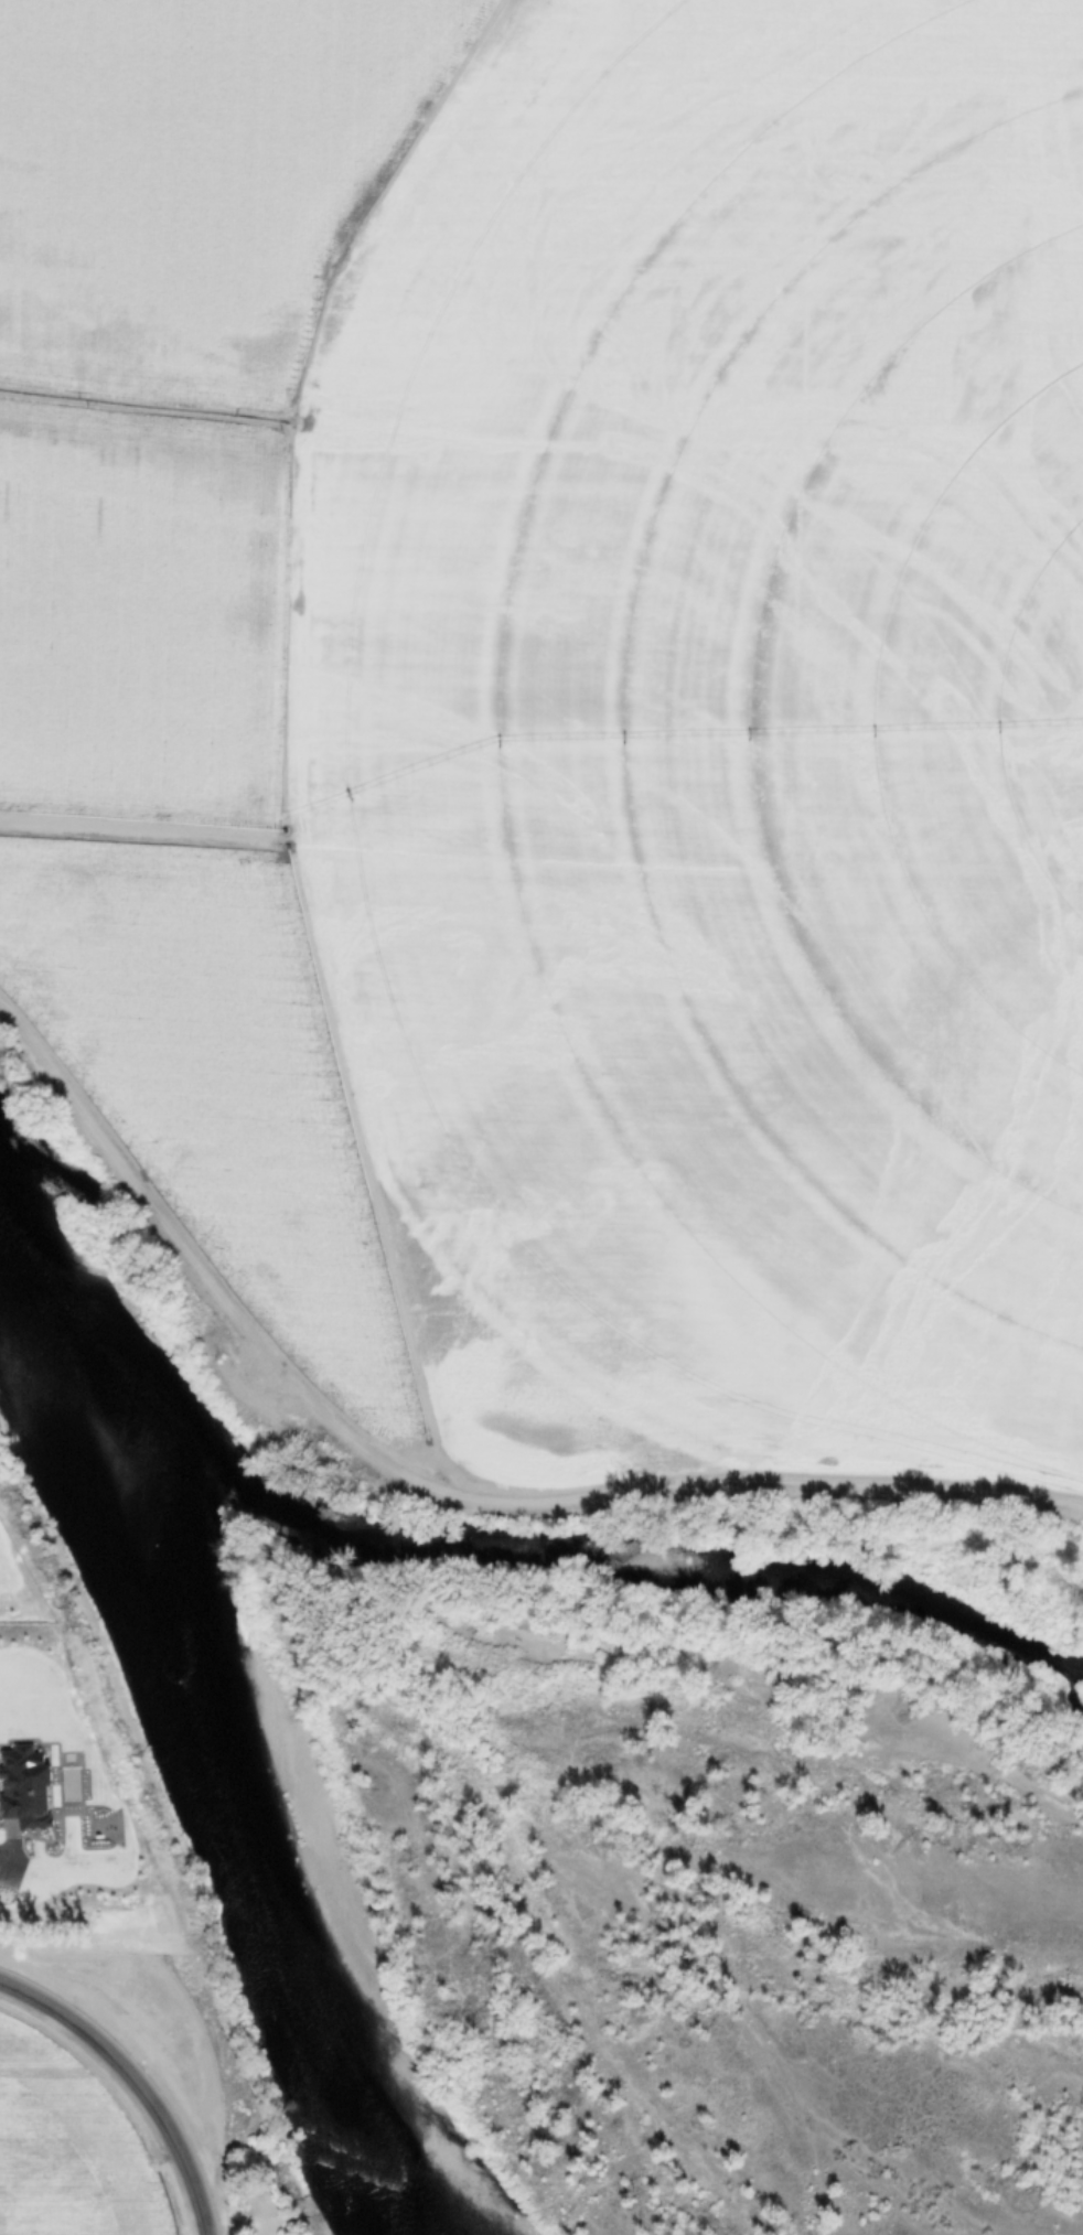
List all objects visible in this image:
road: (433, 1486)
river: (201, 1756)
road: (3, 1860)
road: (87, 1951)
road: (215, 2100)

